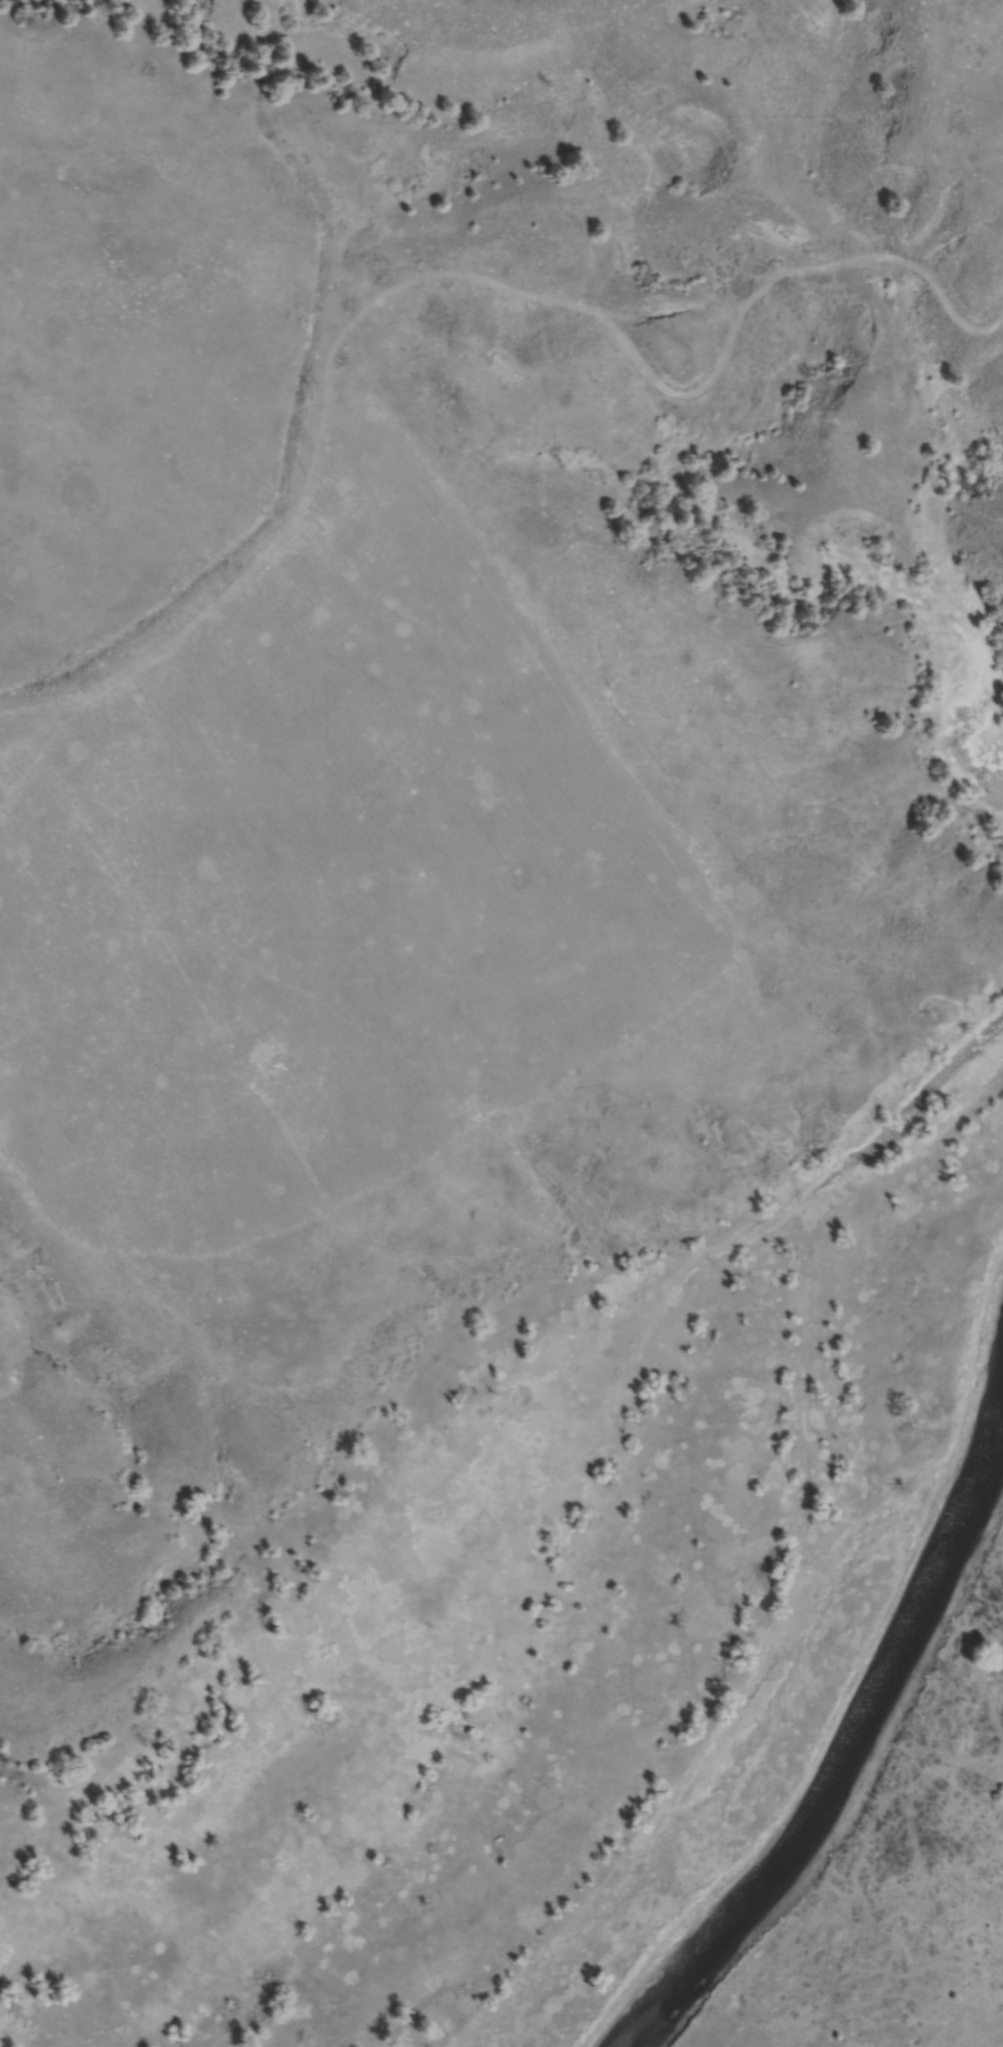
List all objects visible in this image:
park: (562, 1261)
river: (857, 1744)

